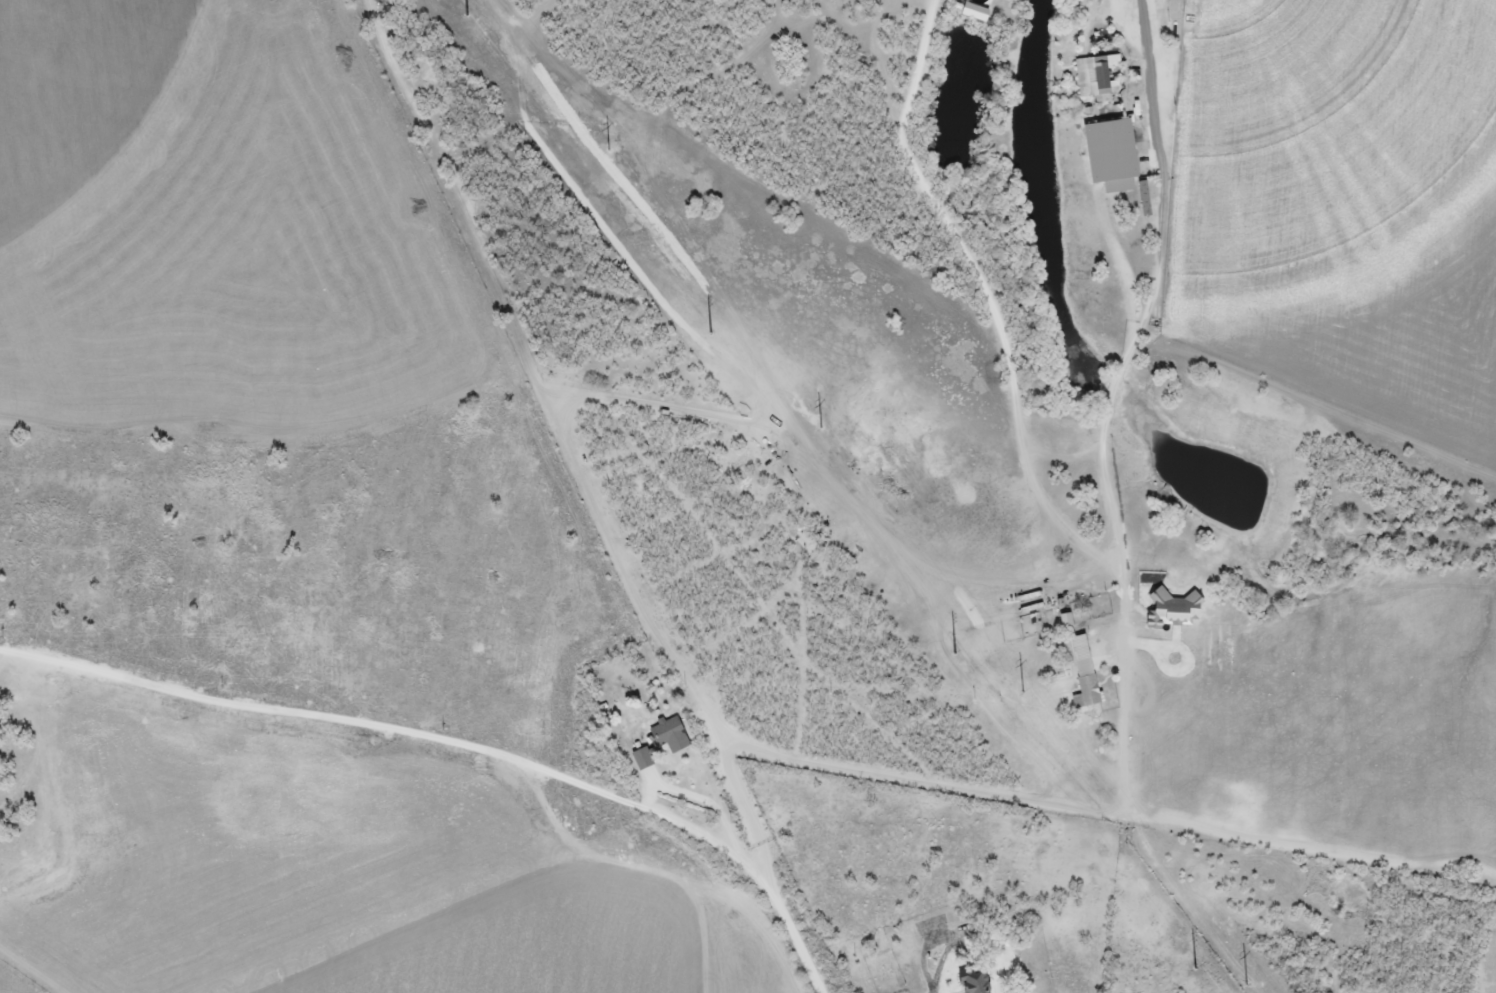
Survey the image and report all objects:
power tower: (466, 13)
building: (1094, 77)
power tower: (602, 142)
building: (1110, 155)
power tower: (708, 332)
power tower: (817, 420)
building: (1171, 611)
power tower: (953, 650)
building: (1083, 674)
power tower: (1026, 699)
building: (671, 736)
road: (456, 742)
building: (642, 759)
power tower: (1193, 967)
power tower: (1239, 977)
building: (973, 979)

